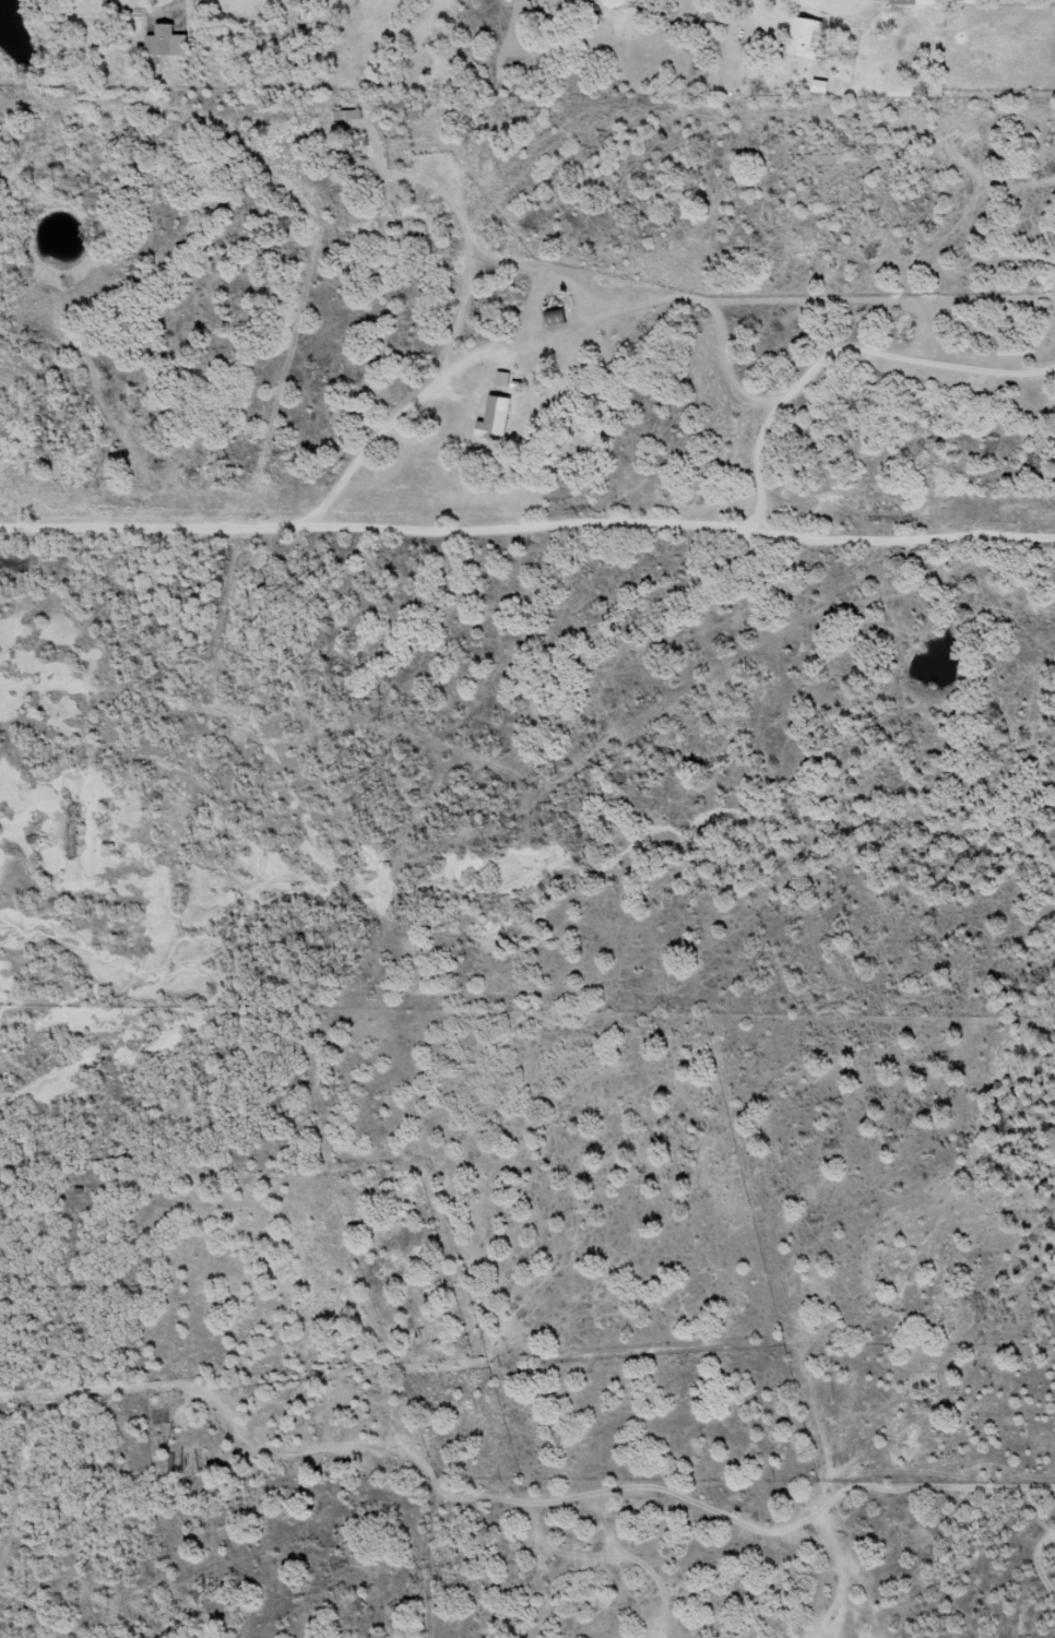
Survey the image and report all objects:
building: (921, 2)
building: (806, 37)
building: (915, 37)
building: (166, 40)
building: (821, 87)
building: (398, 100)
building: (347, 115)
building: (556, 316)
building: (502, 379)
building: (497, 418)
road: (430, 427)
road: (526, 555)
road: (534, 1362)

